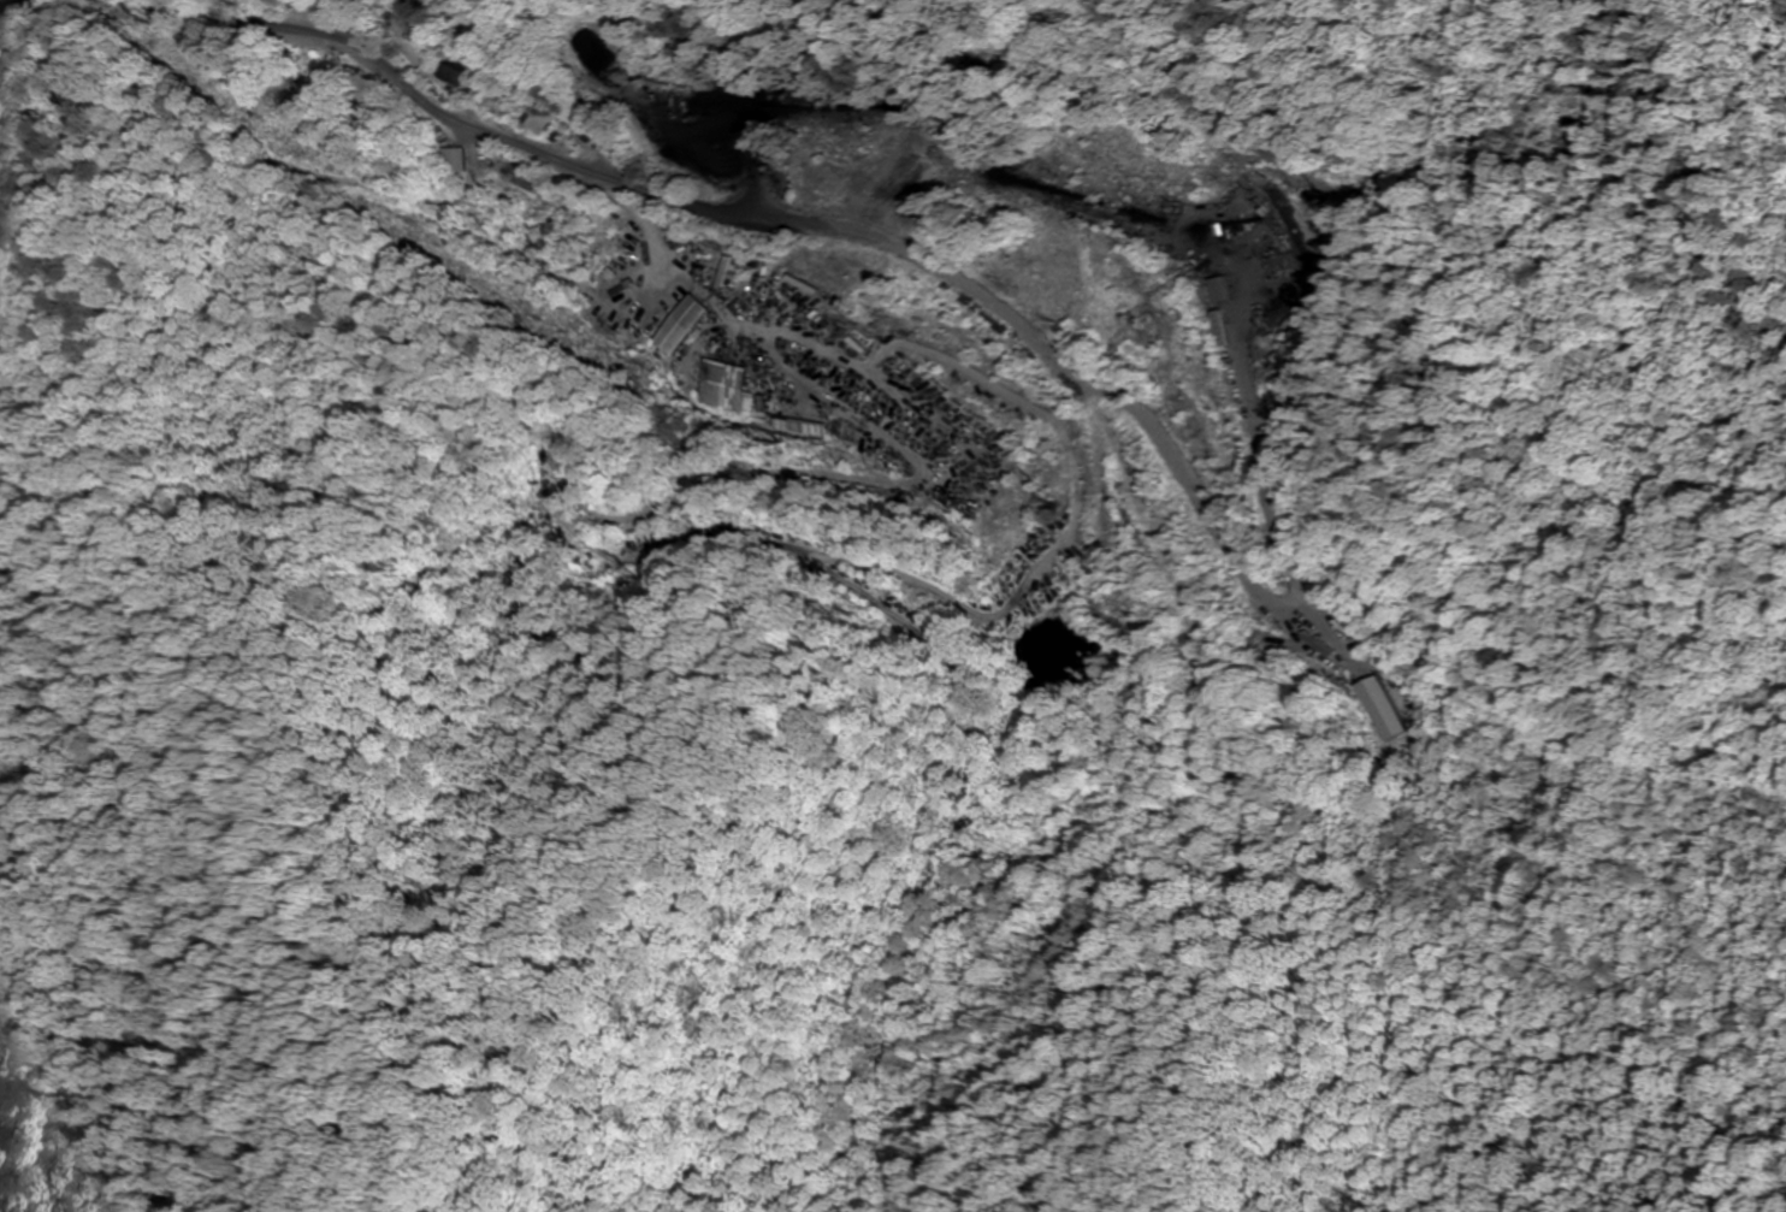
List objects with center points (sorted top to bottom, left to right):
road: (23, 8)
building: (459, 69)
building: (545, 114)
building: (456, 159)
building: (802, 353)
building: (721, 384)

